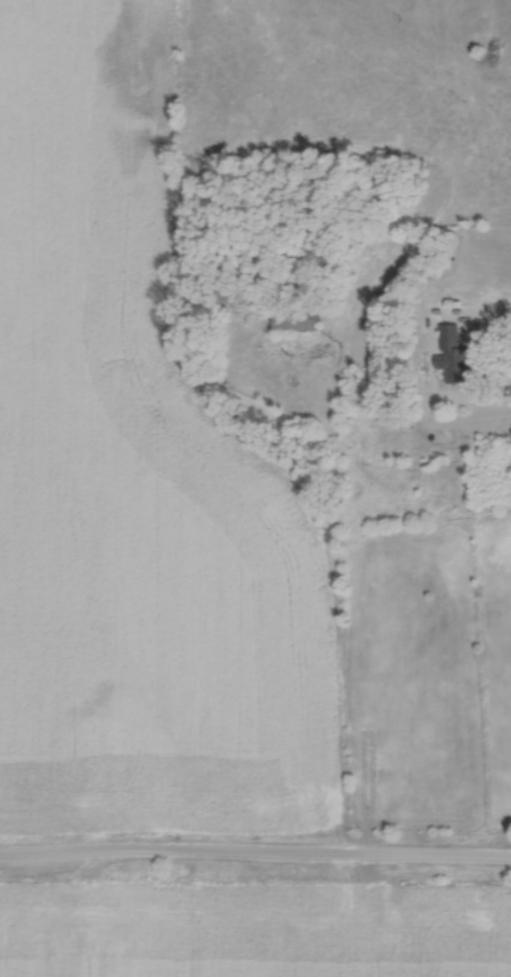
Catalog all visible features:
road: (490, 314)
building: (298, 315)
building: (454, 352)
road: (336, 601)
building: (366, 734)
road: (255, 852)

